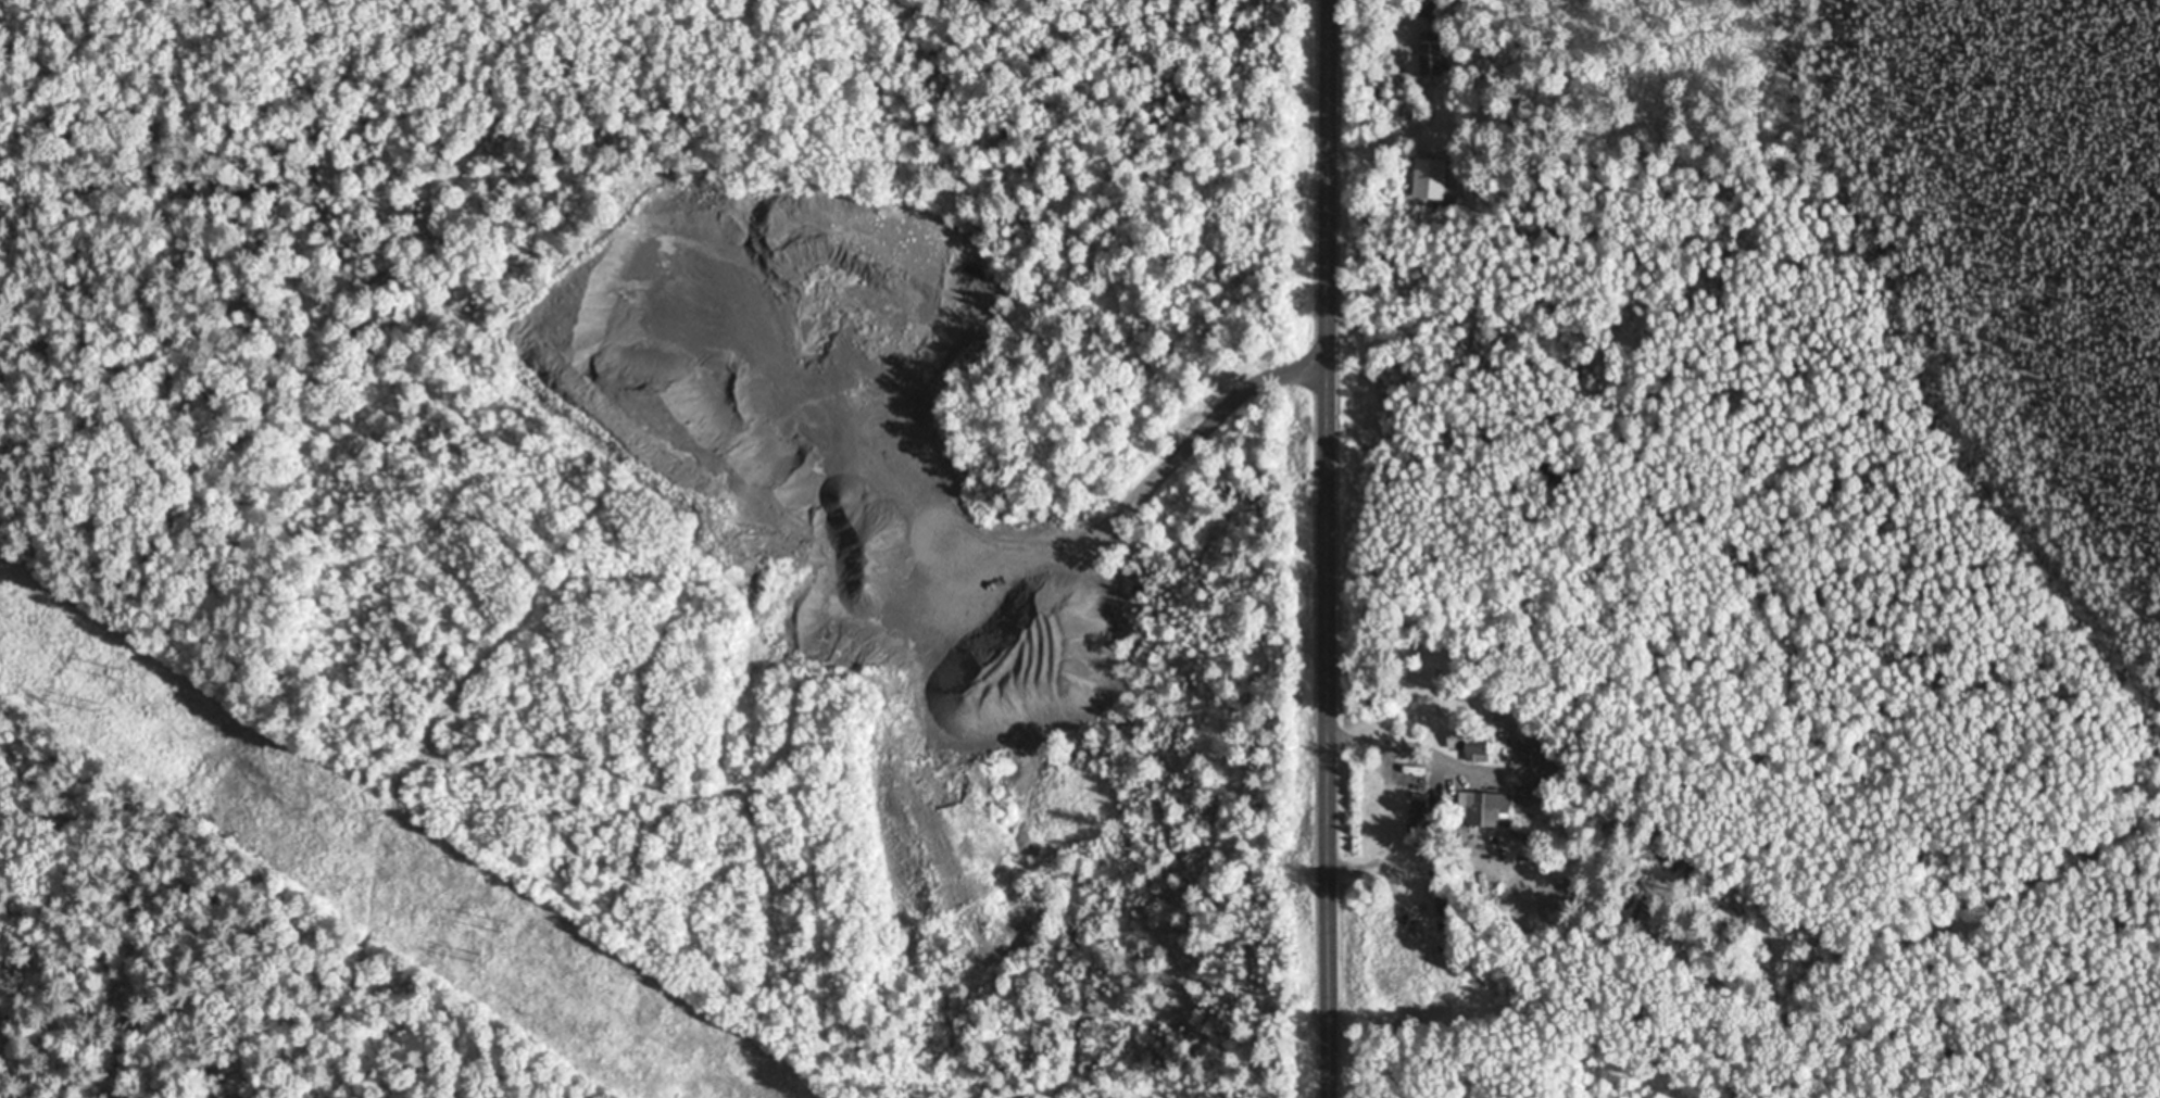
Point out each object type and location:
building: (1430, 53)
building: (1428, 178)
road: (1326, 548)
power tower: (120, 674)
power tower: (98, 706)
building: (1486, 809)
power tower: (507, 927)
power tower: (484, 959)

